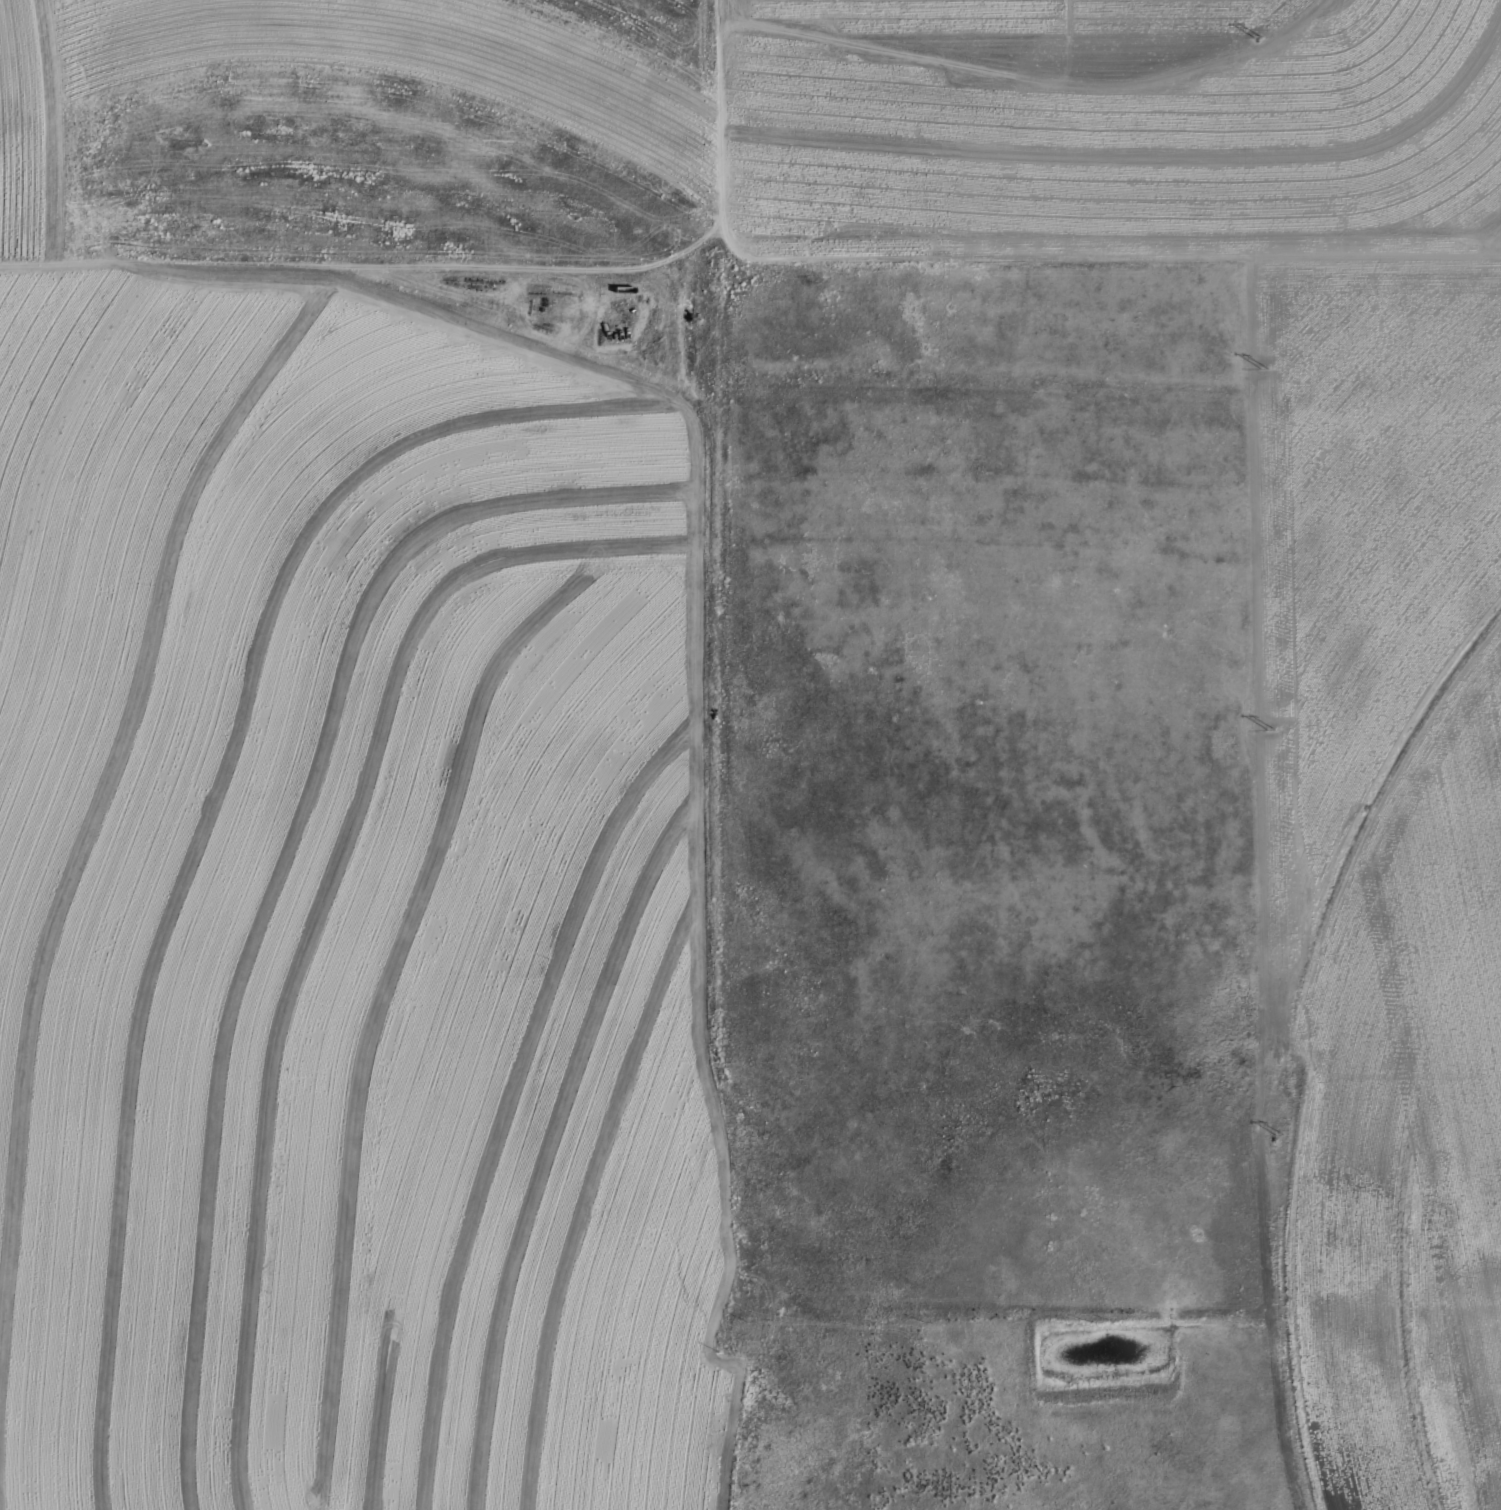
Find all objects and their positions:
power tower: (1261, 36)
power tower: (1268, 366)
power tower: (1275, 728)
power tower: (1282, 1133)

